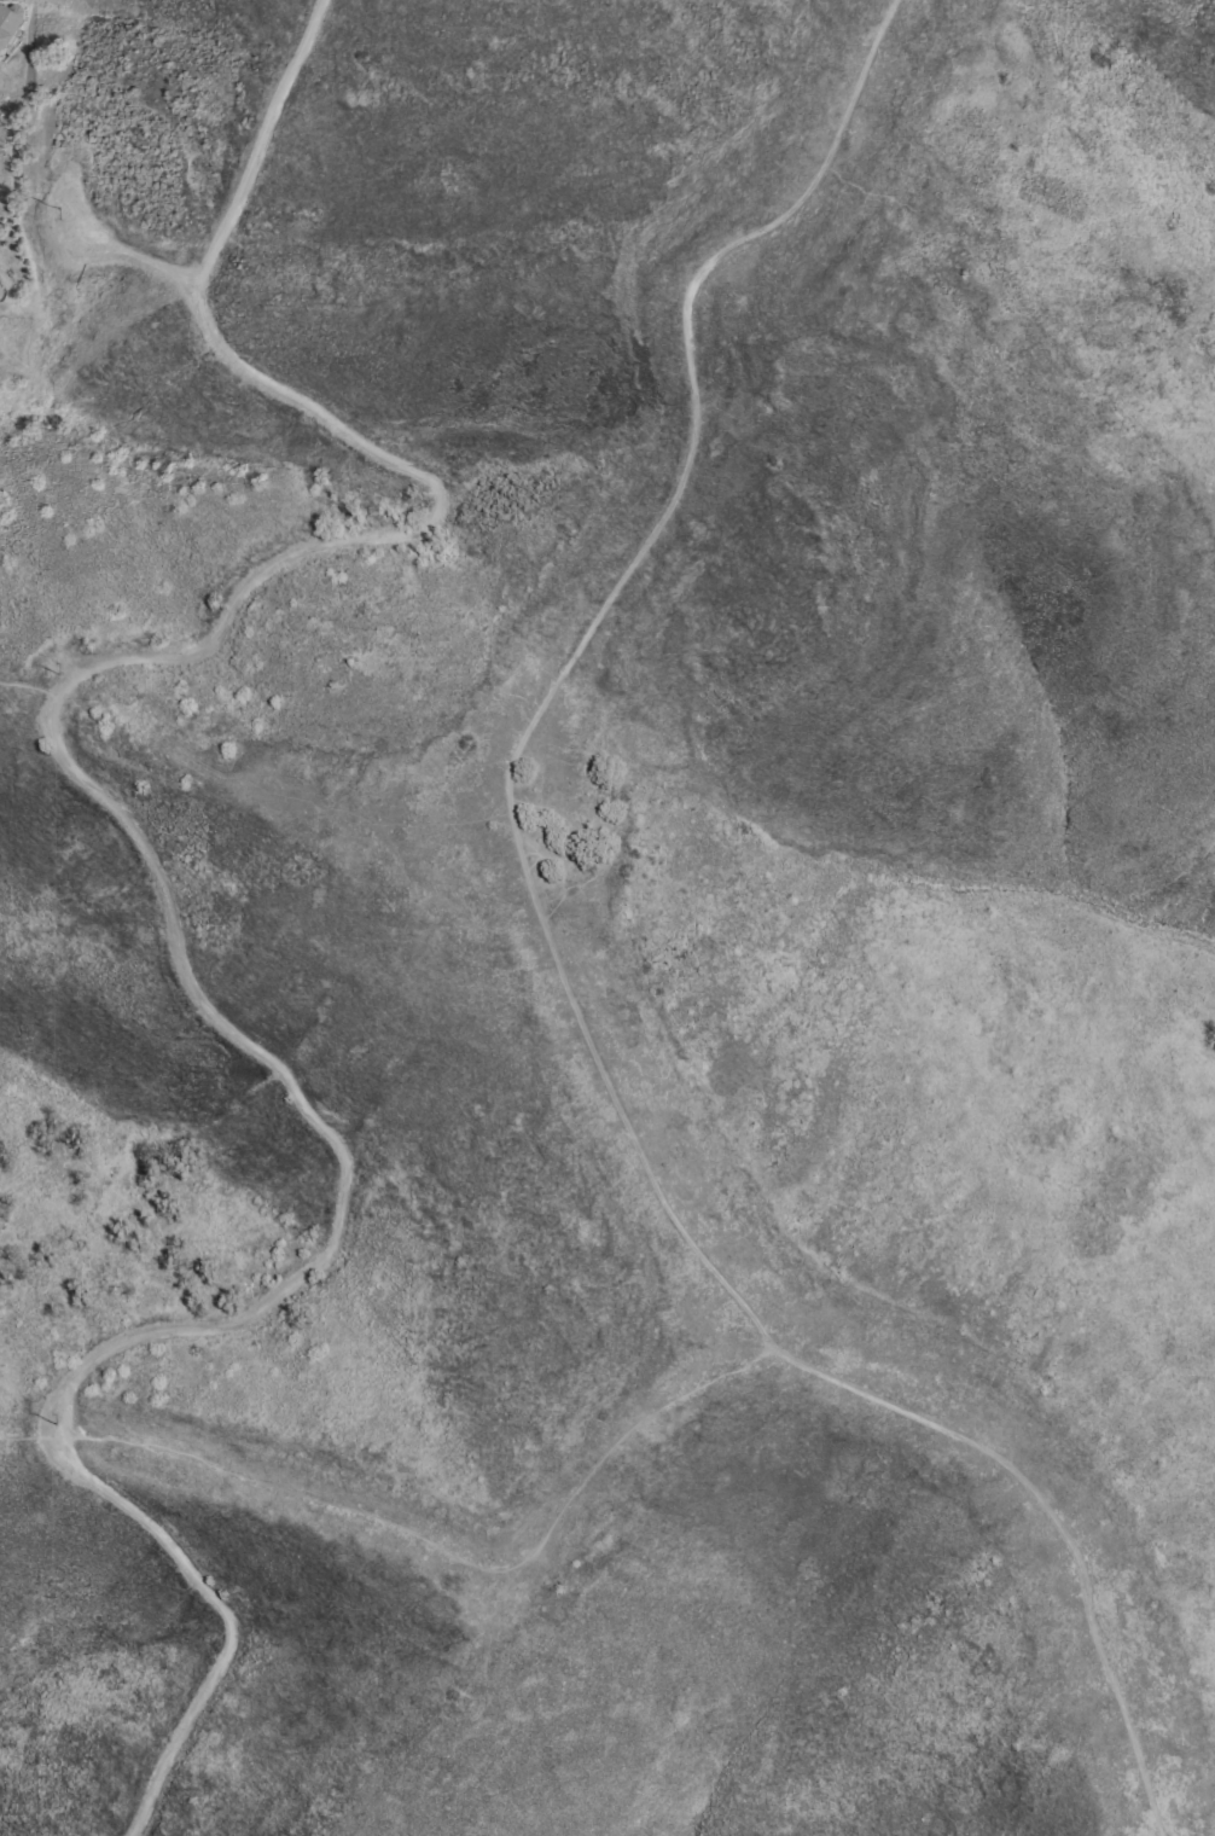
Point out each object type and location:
building: (5, 23)
road: (124, 251)
road: (29, 687)
road: (155, 867)
road: (557, 968)
road: (29, 1437)
road: (452, 1557)

